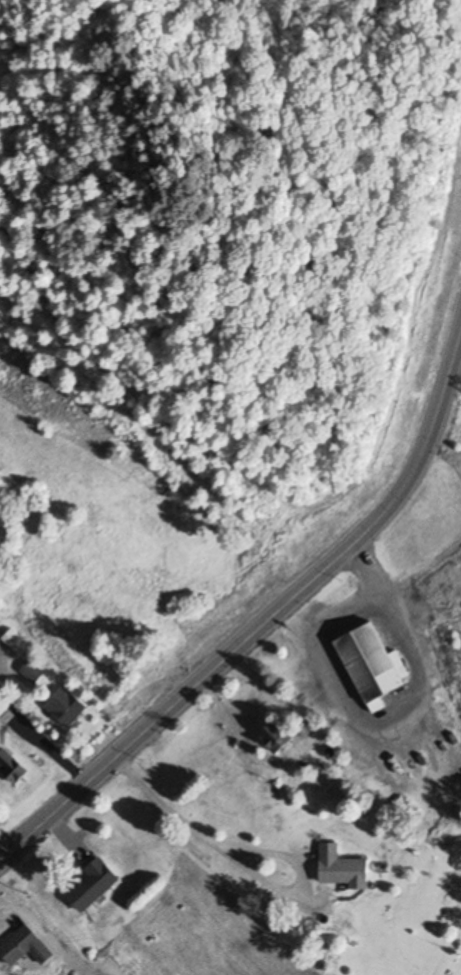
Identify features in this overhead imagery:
road: (411, 475)
building: (0, 562)
building: (16, 642)
building: (372, 665)
building: (33, 671)
building: (67, 705)
road: (160, 719)
building: (276, 736)
building: (12, 766)
road: (7, 848)
road: (247, 867)
building: (343, 867)
building: (94, 884)
building: (25, 947)

